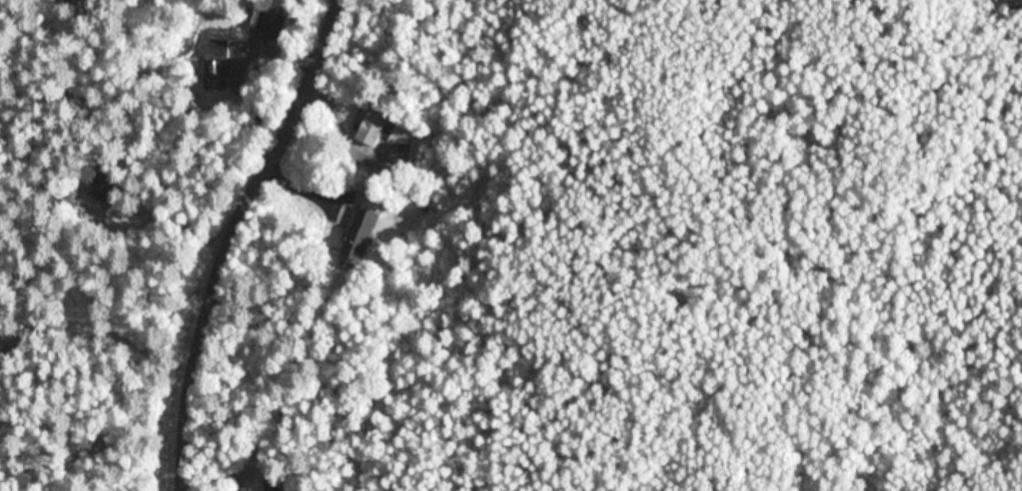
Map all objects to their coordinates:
building: (218, 65)
building: (372, 128)
building: (401, 153)
building: (104, 188)
building: (429, 202)
building: (359, 233)
road: (229, 235)
building: (273, 485)

